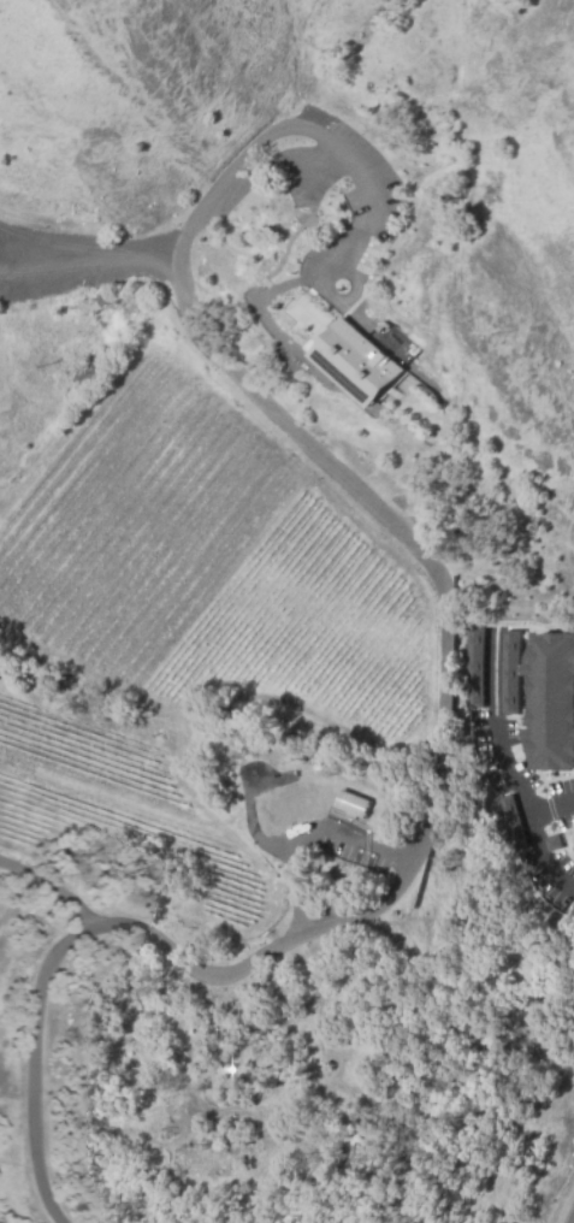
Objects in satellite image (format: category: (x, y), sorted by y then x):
road: (89, 264)
building: (356, 362)
building: (472, 666)
building: (509, 672)
building: (552, 699)
road: (440, 722)
road: (497, 754)
building: (351, 803)
building: (507, 820)
road: (306, 838)
road: (538, 857)
road: (47, 886)
building: (569, 912)
building: (155, 1165)

